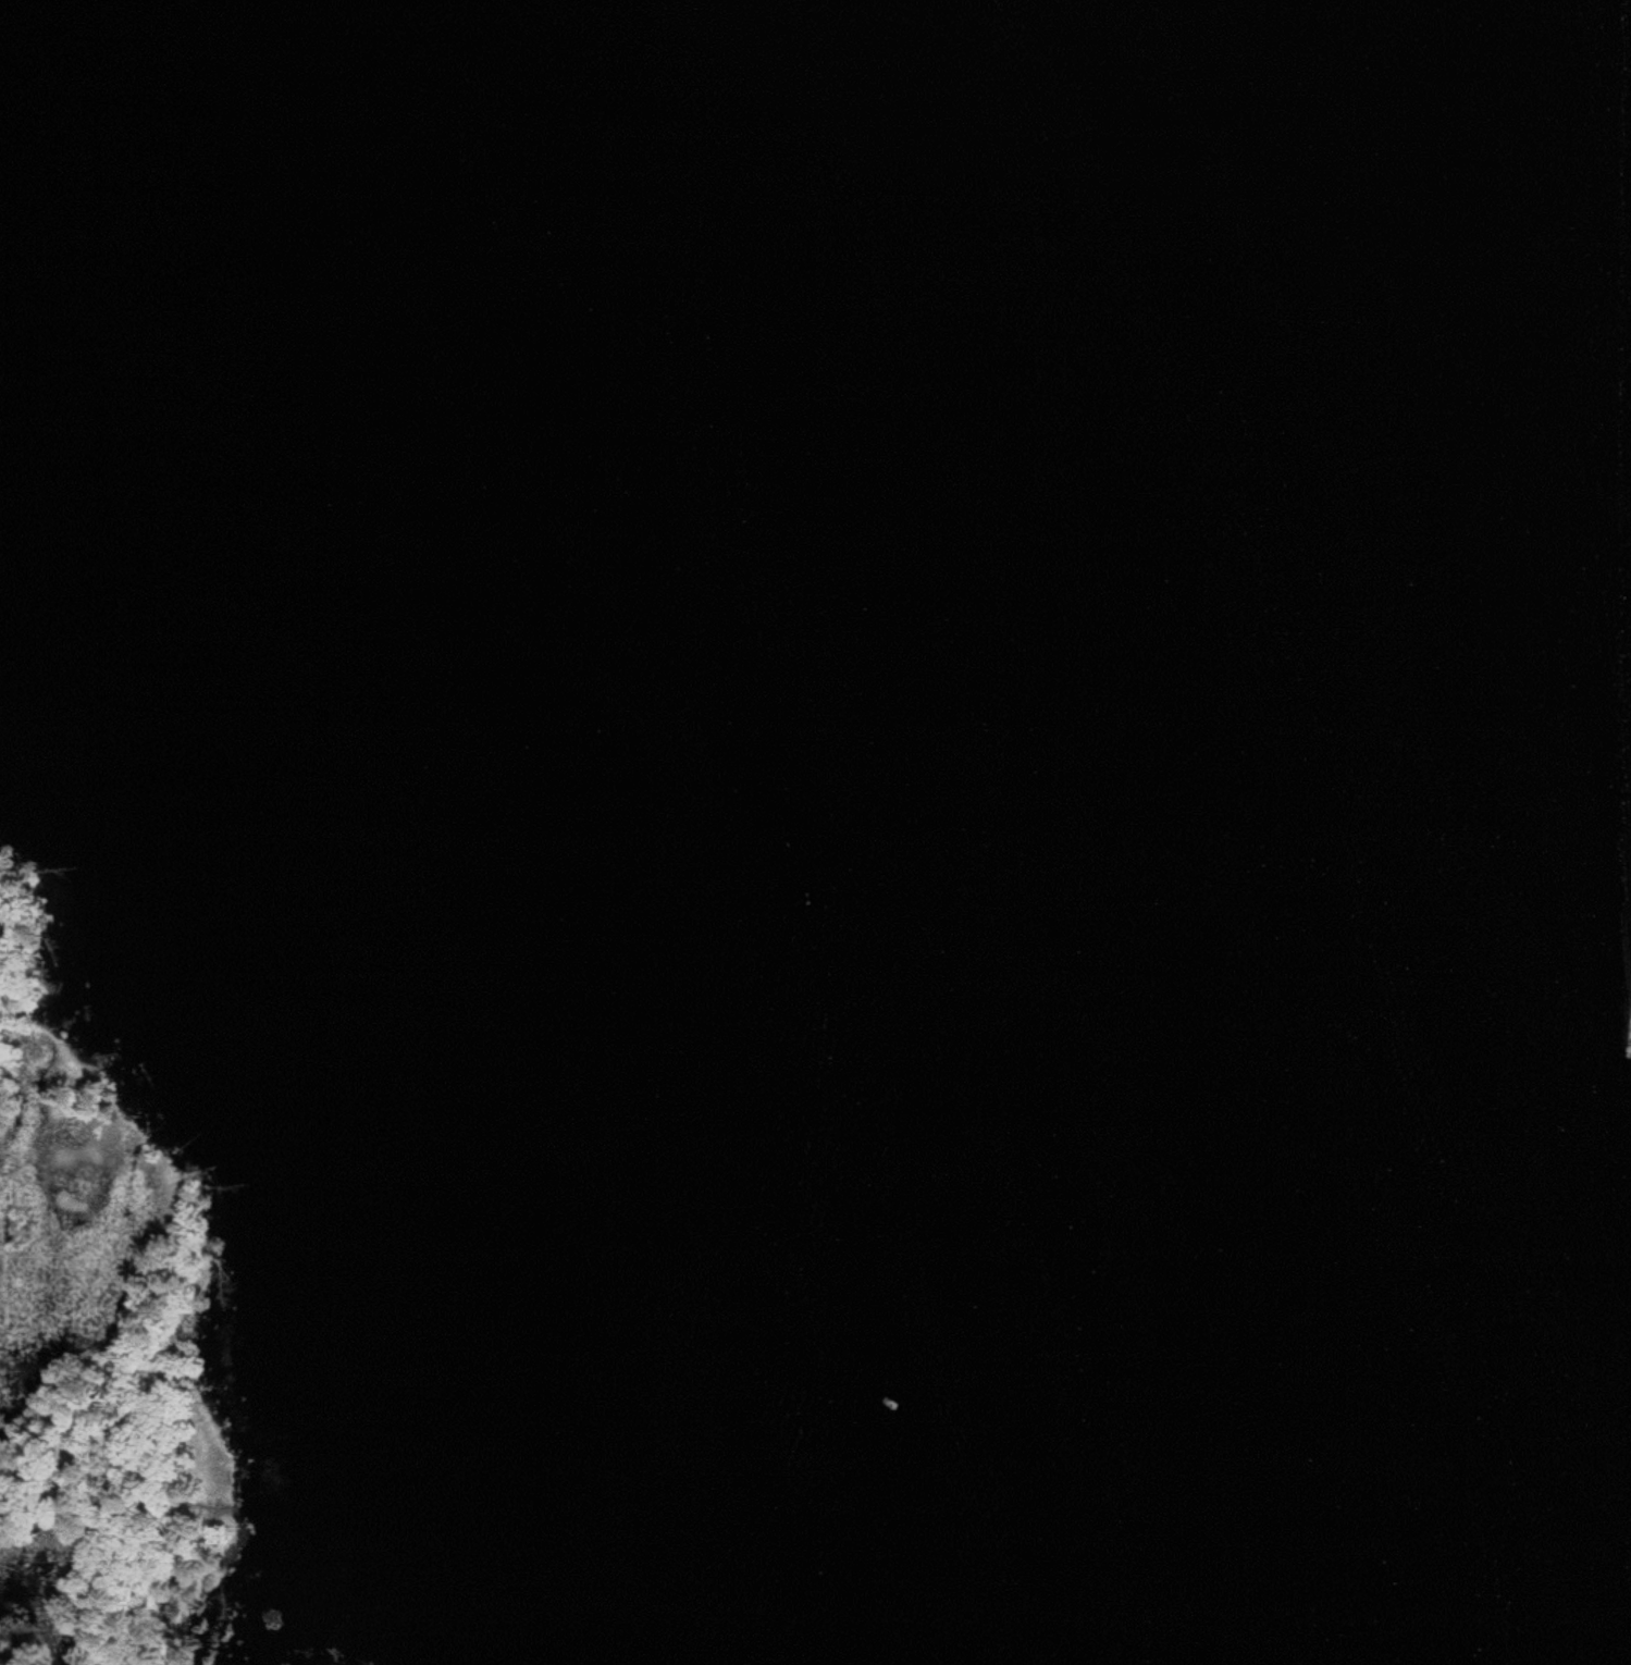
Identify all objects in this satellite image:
park: (103, 1336)

